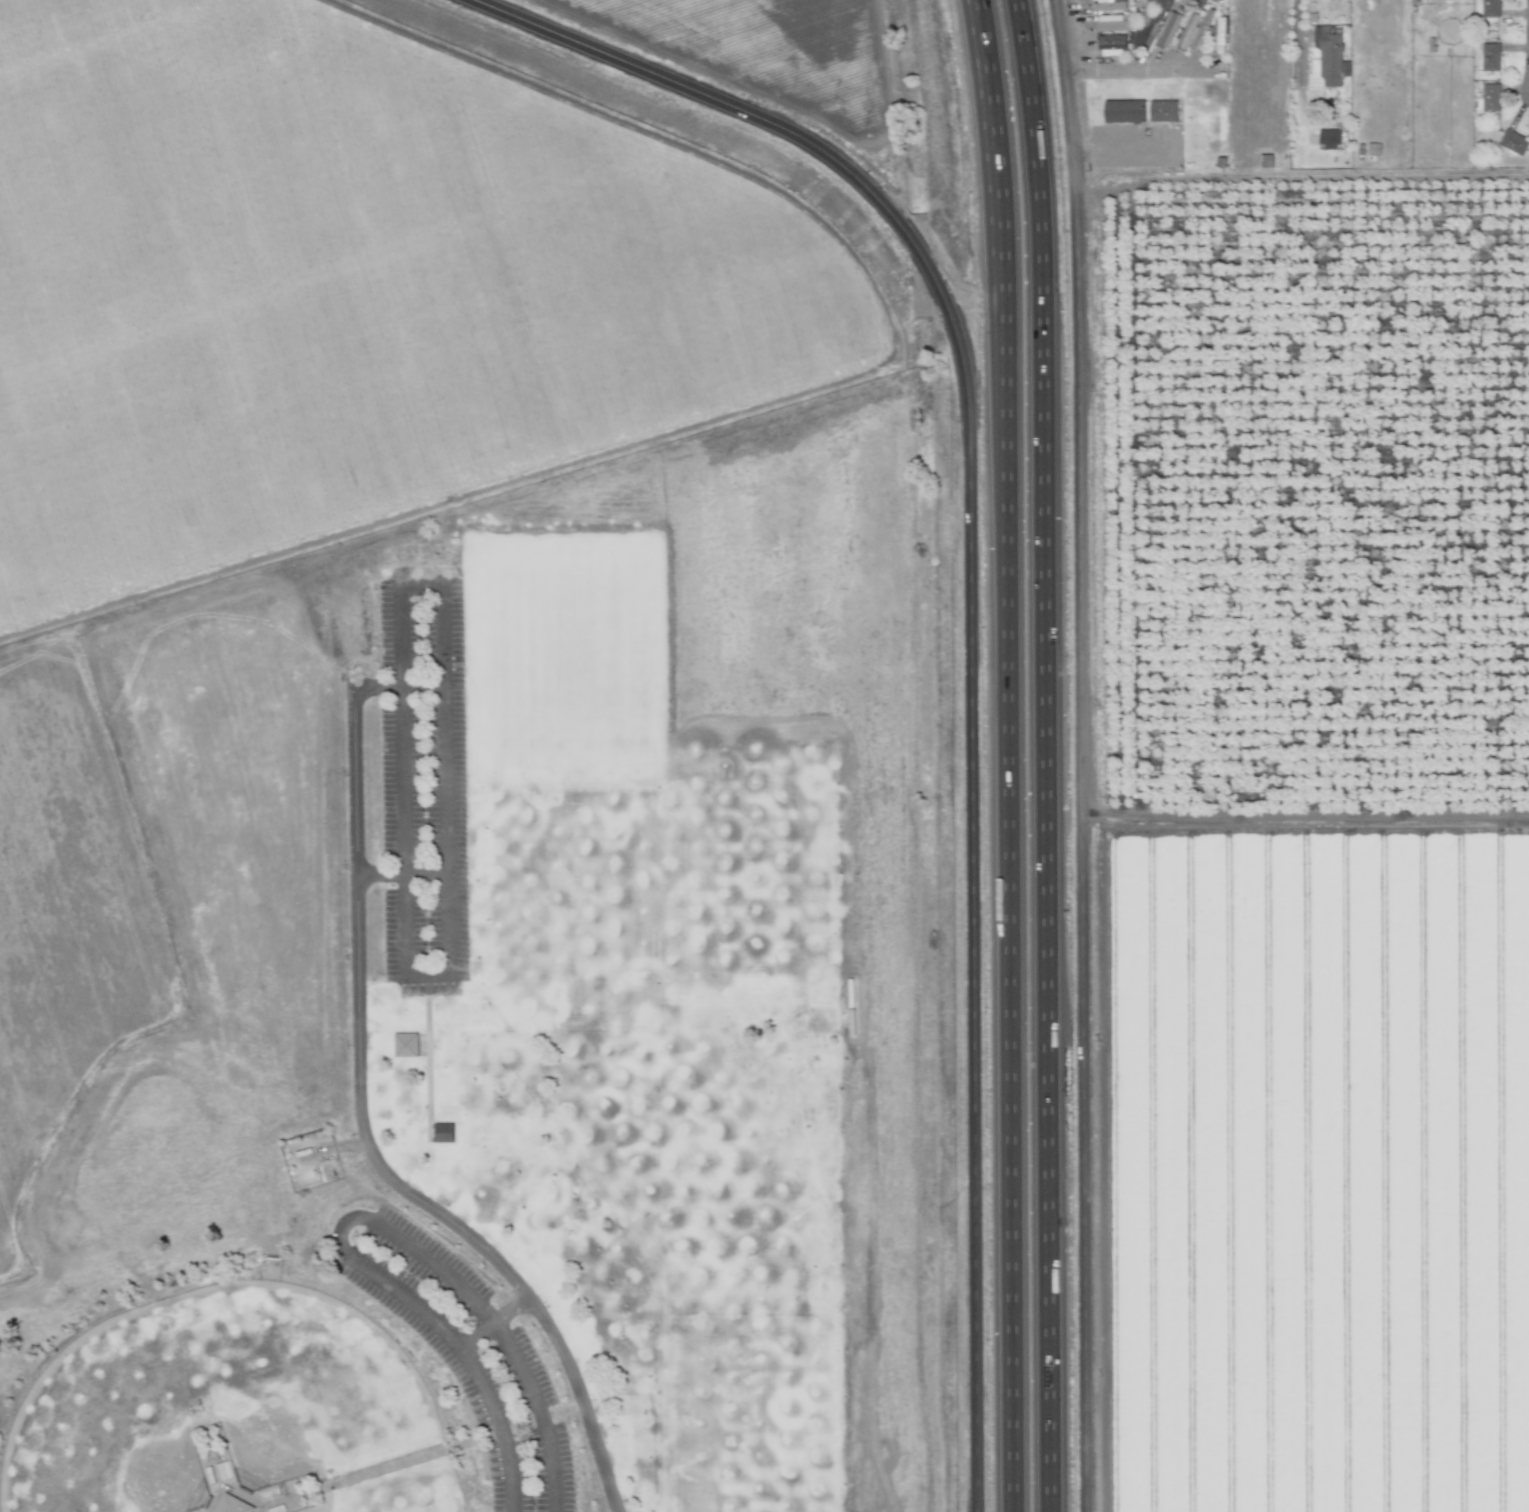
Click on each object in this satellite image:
building: (1439, 0)
building: (1446, 0)
building: (1150, 1)
building: (1109, 6)
building: (1490, 8)
building: (1113, 25)
building: (1157, 27)
building: (1194, 35)
building: (1220, 38)
road: (1295, 38)
building: (1112, 46)
building: (1332, 55)
building: (1490, 56)
road: (1133, 69)
building: (1490, 97)
building: (1335, 102)
building: (1163, 111)
building: (1124, 112)
building: (1330, 140)
road: (795, 143)
building: (1513, 143)
road: (1118, 147)
building: (1373, 149)
road: (1292, 176)
crop: (419, 485)
road: (1005, 755)
road: (1051, 755)
road: (1075, 755)
park: (747, 861)
road: (379, 874)
road: (450, 876)
park: (571, 907)
road: (973, 970)
road: (356, 1003)
building: (406, 1045)
road: (428, 1057)
building: (444, 1132)
park: (693, 1171)
road: (387, 1283)
road: (568, 1362)
park: (305, 1370)
road: (537, 1412)
park: (748, 1422)
park: (92, 1430)
road: (424, 1454)
road: (230, 1489)
park: (419, 1500)
building: (236, 1505)
road: (262, 1508)

